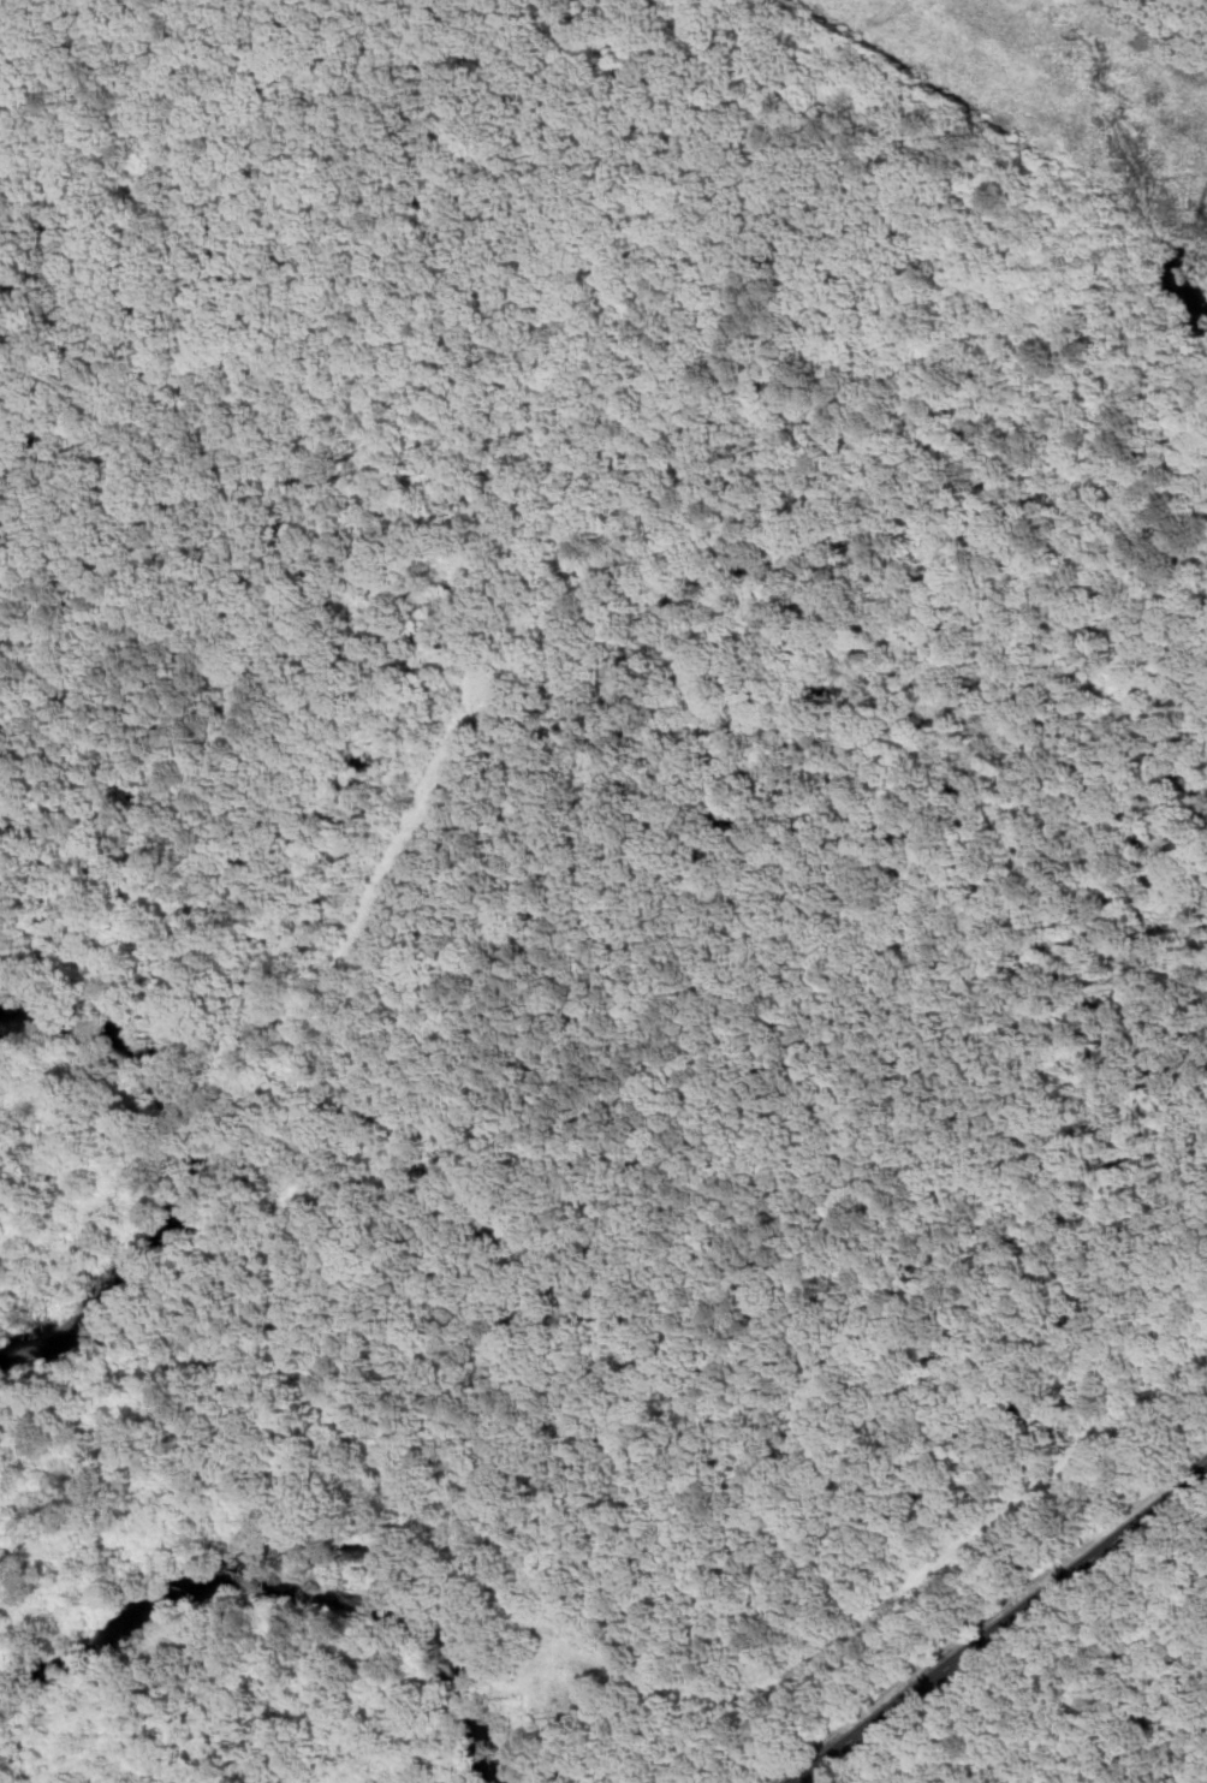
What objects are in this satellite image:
park: (857, 1008)
river: (194, 1173)
river: (287, 1587)
road: (1000, 1627)

